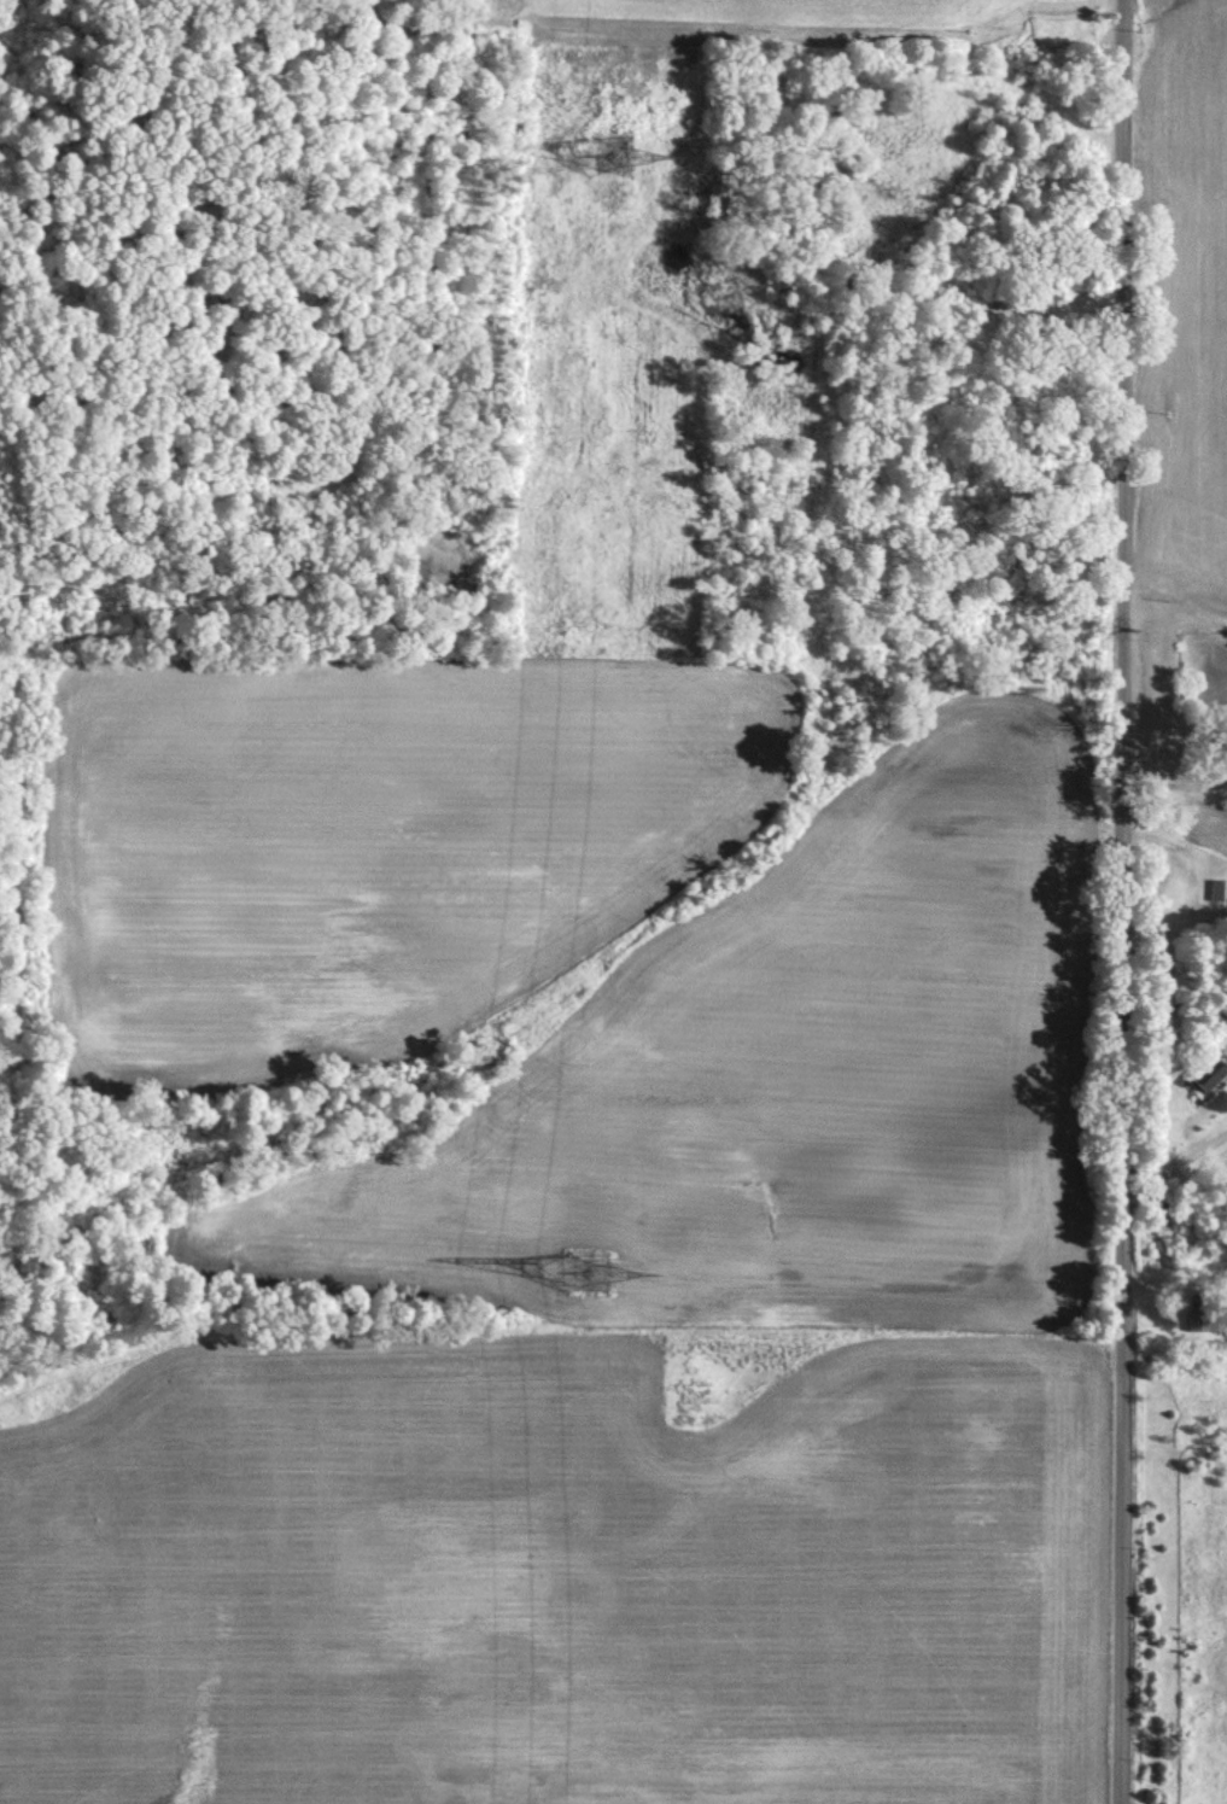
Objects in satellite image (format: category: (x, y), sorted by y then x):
power tower: (602, 154)
building: (1016, 300)
road: (1179, 771)
building: (1219, 889)
road: (1129, 901)
building: (1209, 1073)
road: (1179, 1178)
power tower: (586, 1271)
building: (1197, 1319)

